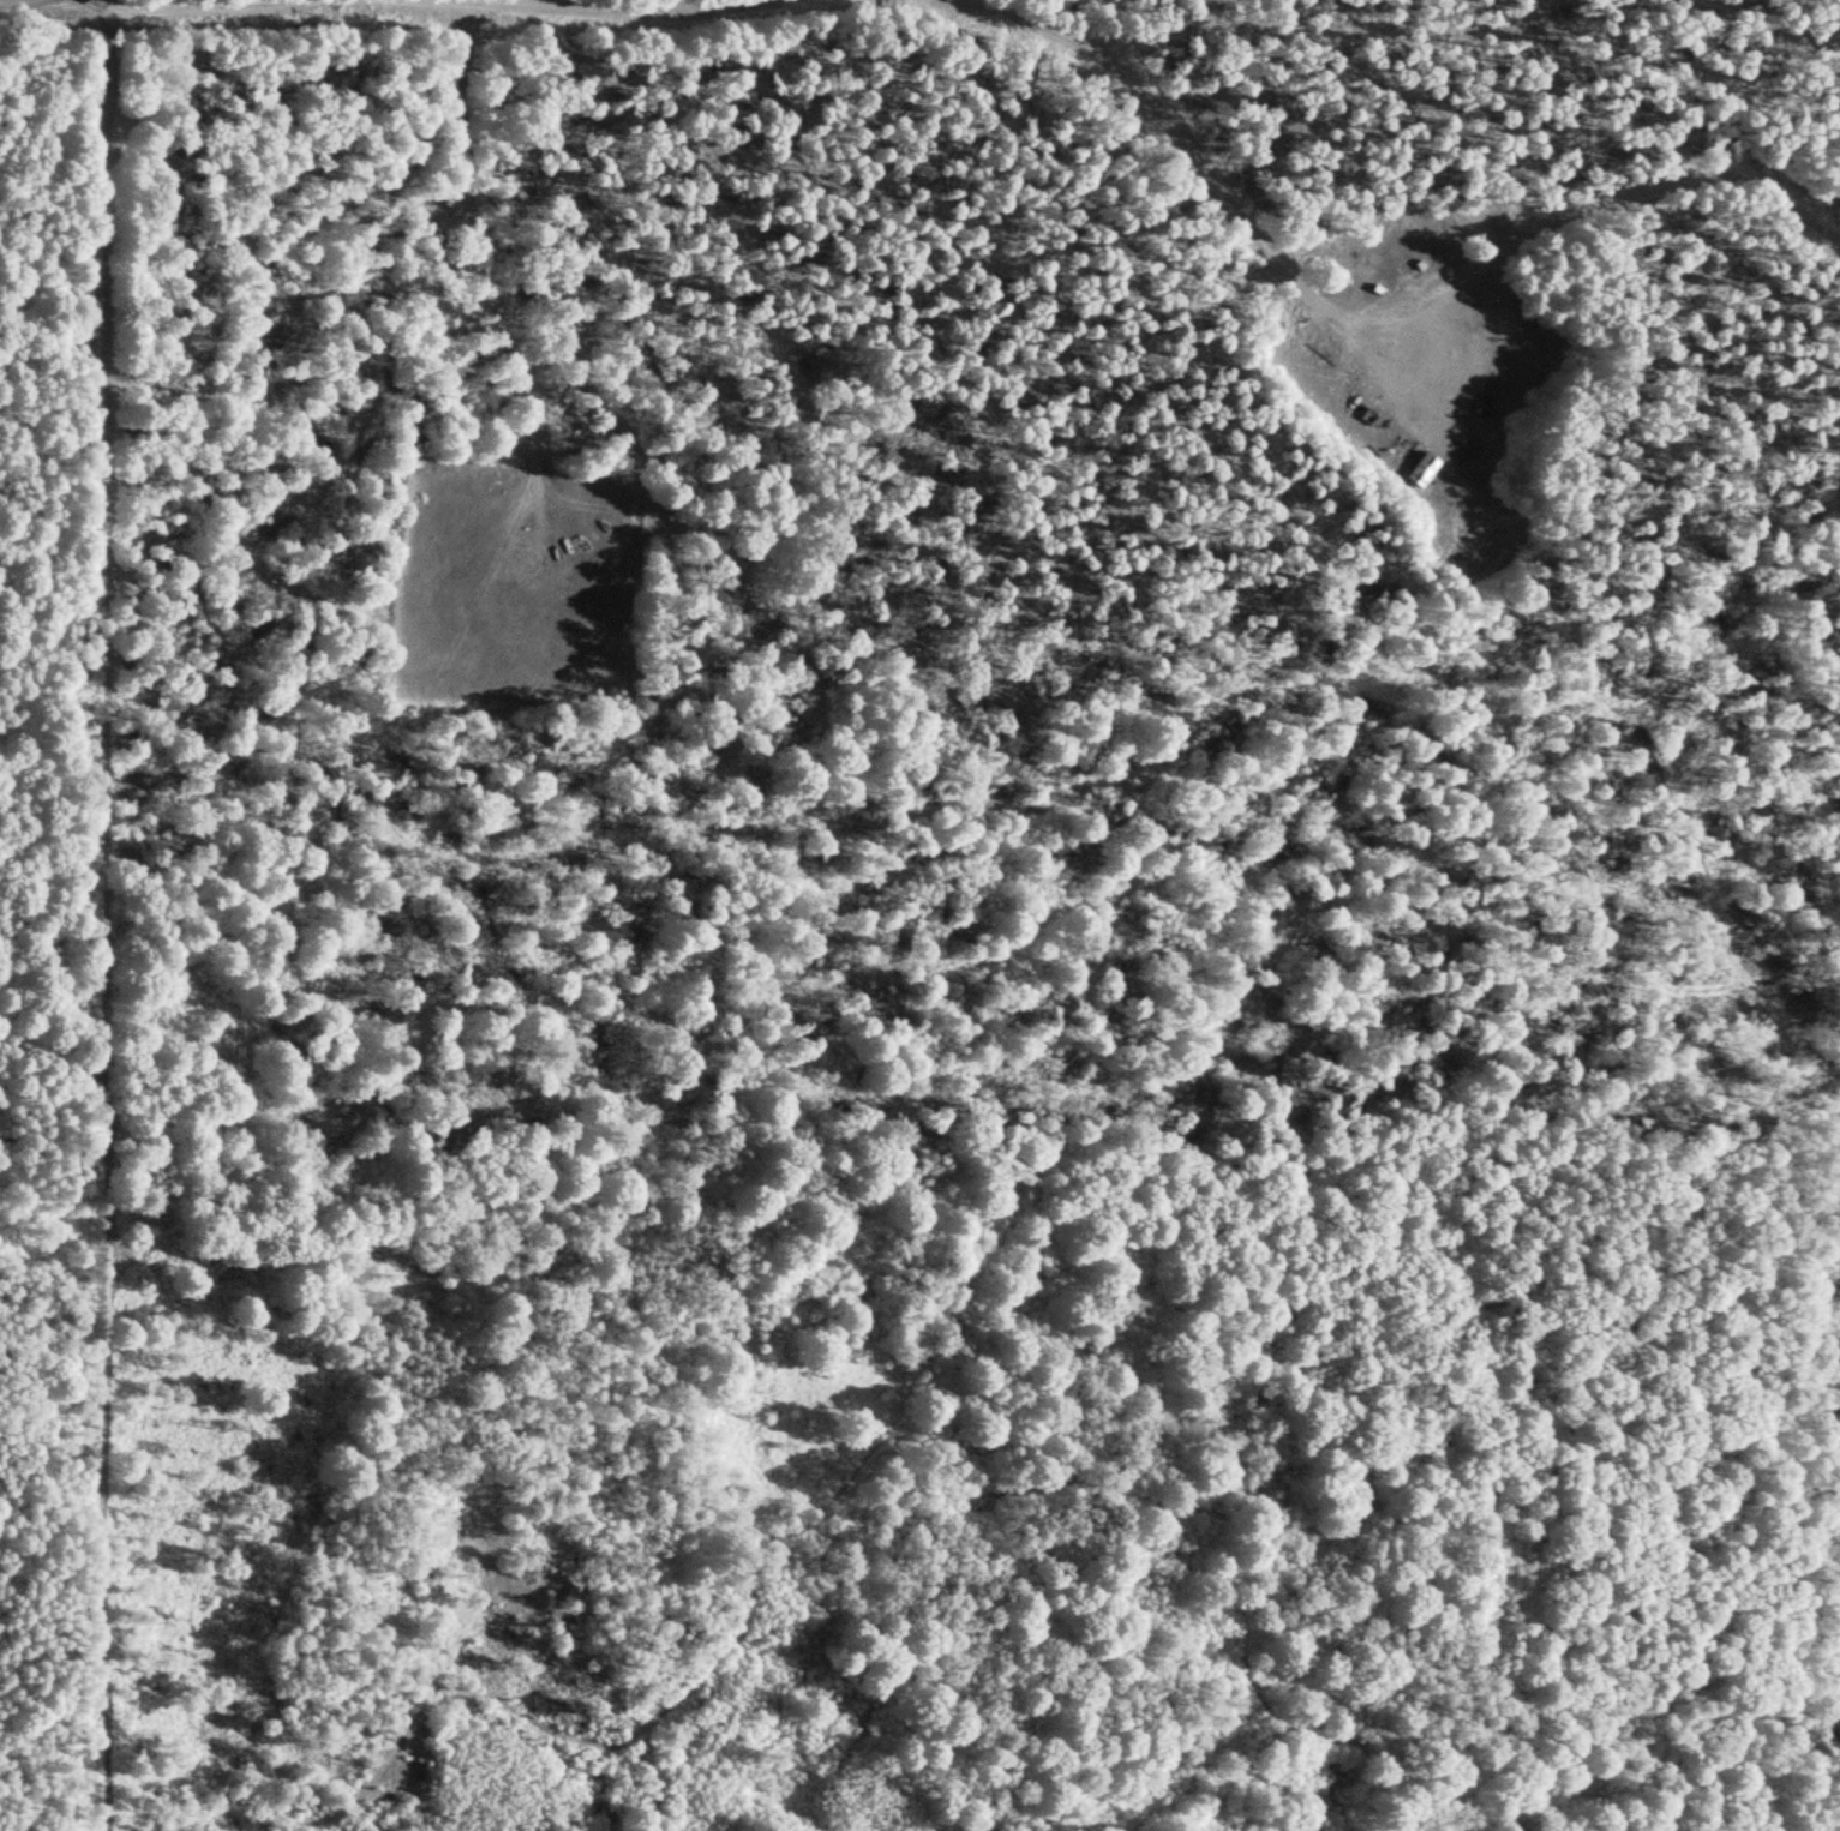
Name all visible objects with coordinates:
road: (229, 6)
road: (588, 7)
road: (445, 23)
road: (1161, 118)
road: (1686, 163)
road: (485, 245)
road: (1418, 275)
building: (1421, 472)
road: (106, 919)
road: (53, 1125)

